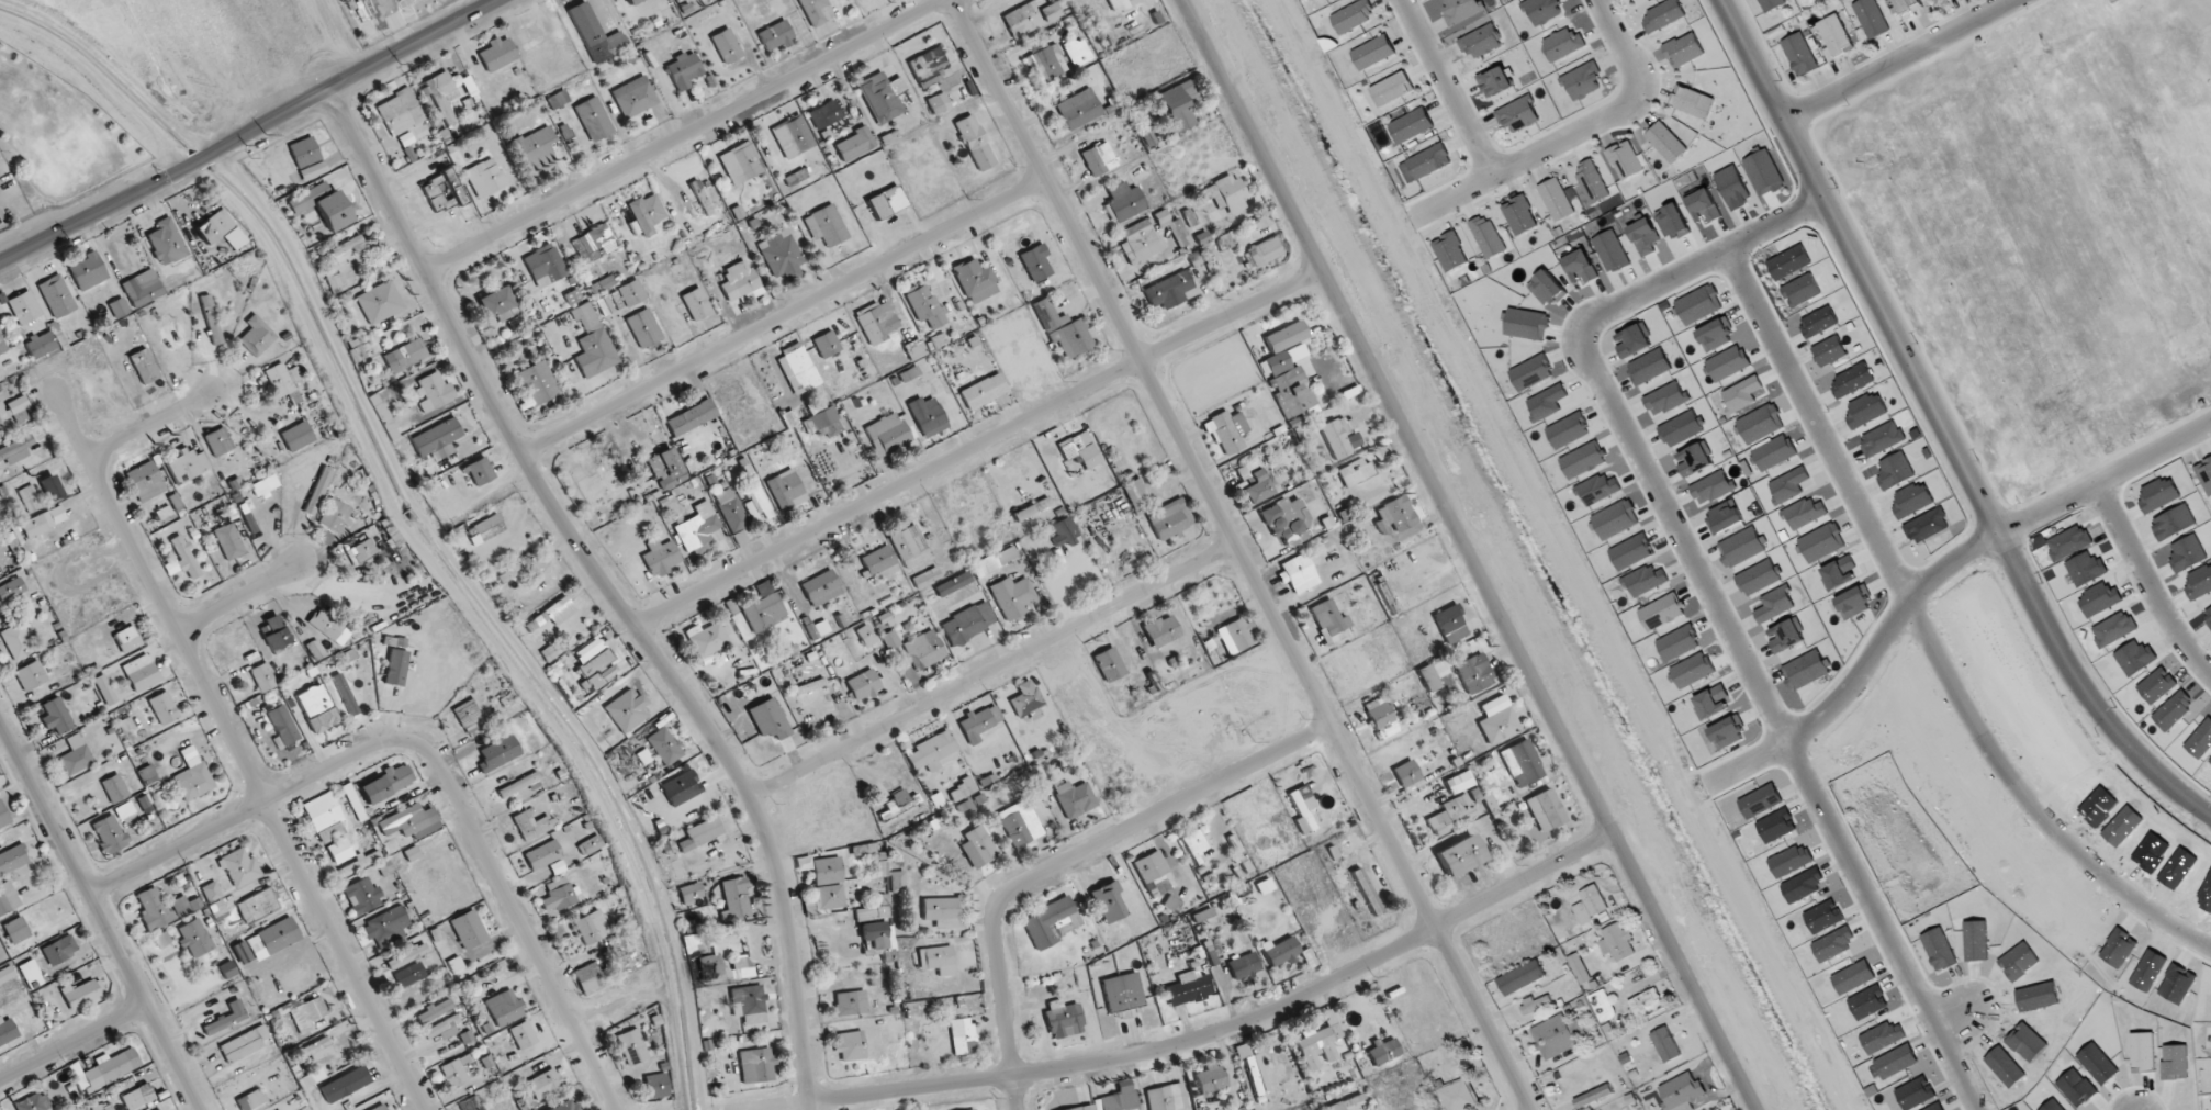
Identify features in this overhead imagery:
building: (343, 0)
building: (632, 2)
building: (1121, 4)
building: (1771, 4)
building: (1907, 5)
building: (1461, 10)
building: (1542, 10)
building: (816, 12)
building: (1353, 15)
building: (1662, 15)
building: (1029, 16)
building: (1871, 18)
road: (395, 24)
building: (595, 35)
building: (1836, 35)
building: (775, 36)
building: (1480, 42)
building: (1562, 44)
building: (726, 46)
building: (1683, 49)
building: (1077, 52)
building: (1372, 52)
building: (498, 54)
building: (1799, 55)
road: (1898, 61)
building: (1046, 63)
building: (929, 67)
building: (684, 70)
building: (1495, 81)
building: (1582, 81)
building: (1391, 89)
road: (1441, 89)
building: (442, 96)
building: (633, 97)
building: (882, 97)
building: (558, 100)
building: (1692, 101)
building: (938, 103)
building: (1179, 104)
building: (1077, 110)
building: (403, 114)
building: (826, 114)
building: (1517, 114)
building: (593, 119)
building: (1411, 125)
road: (250, 134)
road: (688, 134)
road: (1571, 134)
building: (793, 136)
building: (975, 143)
building: (1665, 143)
building: (855, 144)
building: (536, 147)
building: (304, 152)
building: (1098, 159)
building: (1625, 160)
building: (740, 162)
building: (1425, 162)
building: (484, 178)
building: (1591, 181)
building: (442, 192)
building: (1226, 193)
building: (1556, 199)
building: (886, 202)
building: (1124, 202)
building: (324, 205)
building: (647, 213)
building: (1519, 215)
building: (826, 225)
building: (215, 226)
building: (1177, 227)
building: (1486, 236)
building: (235, 238)
building: (1140, 242)
building: (166, 243)
building: (594, 244)
building: (349, 248)
building: (1265, 251)
building: (1450, 251)
building: (783, 258)
building: (1035, 262)
building: (545, 264)
building: (88, 271)
building: (975, 281)
building: (740, 282)
building: (603, 284)
building: (143, 290)
building: (1170, 290)
building: (628, 294)
building: (57, 296)
building: (380, 302)
building: (496, 303)
building: (696, 304)
building: (924, 305)
building: (23, 307)
building: (119, 307)
road: (782, 318)
building: (211, 319)
building: (876, 322)
building: (643, 328)
building: (1063, 329)
building: (257, 336)
building: (1286, 336)
building: (593, 343)
building: (827, 344)
building: (41, 345)
building: (2, 346)
building: (914, 349)
building: (405, 356)
building: (1287, 358)
building: (144, 366)
building: (797, 369)
building: (283, 379)
road: (1792, 379)
building: (538, 382)
building: (1292, 390)
building: (984, 391)
building: (435, 392)
building: (19, 408)
building: (3, 413)
building: (928, 416)
building: (691, 417)
building: (824, 418)
road: (151, 427)
road: (1941, 429)
building: (1227, 431)
building: (298, 436)
building: (1339, 437)
building: (437, 439)
building: (218, 441)
road: (978, 442)
building: (1079, 449)
building: (15, 450)
building: (188, 466)
road: (1641, 466)
building: (666, 469)
building: (479, 471)
building: (1355, 471)
building: (2204, 474)
building: (146, 481)
building: (1256, 481)
road: (2102, 481)
building: (265, 485)
building: (50, 487)
building: (786, 489)
building: (318, 491)
building: (1135, 494)
building: (29, 498)
building: (759, 500)
building: (731, 509)
building: (334, 515)
building: (1395, 515)
building: (1286, 517)
building: (1169, 519)
building: (43, 522)
building: (697, 527)
building: (485, 529)
building: (1064, 531)
building: (228, 541)
building: (909, 546)
building: (364, 550)
road: (1241, 554)
road: (1470, 554)
road: (1557, 554)
building: (184, 557)
building: (661, 557)
building: (878, 560)
building: (994, 561)
building: (520, 568)
building: (1298, 573)
building: (925, 578)
building: (953, 584)
road: (2147, 584)
building: (821, 588)
building: (11, 590)
road: (611, 590)
building: (1012, 596)
road: (238, 597)
building: (559, 610)
building: (764, 612)
building: (1329, 621)
building: (967, 623)
building: (326, 624)
building: (1450, 625)
building: (1161, 630)
building: (274, 634)
building: (1235, 636)
building: (866, 637)
building: (127, 639)
building: (708, 639)
building: (890, 640)
building: (16, 641)
building: (924, 649)
building: (1109, 664)
building: (396, 668)
road: (995, 668)
building: (597, 670)
building: (141, 673)
building: (1474, 673)
building: (31, 675)
building: (263, 677)
building: (1429, 677)
building: (863, 685)
building: (105, 689)
building: (346, 694)
building: (1025, 698)
building: (164, 708)
building: (317, 708)
building: (628, 710)
building: (468, 715)
building: (56, 716)
building: (768, 719)
building: (1497, 719)
building: (1384, 720)
building: (979, 722)
building: (283, 725)
building: (664, 745)
road: (242, 751)
building: (931, 751)
building: (498, 753)
building: (76, 755)
road: (439, 760)
building: (1522, 763)
road: (1747, 763)
building: (1406, 774)
building: (147, 775)
building: (193, 775)
building: (391, 781)
building: (1459, 782)
building: (518, 785)
building: (682, 787)
building: (114, 788)
building: (962, 789)
road: (1814, 795)
building: (1074, 798)
road: (2033, 799)
building: (898, 804)
building: (1302, 808)
building: (124, 810)
building: (1546, 810)
building: (1451, 814)
building: (3, 816)
building: (325, 817)
building: (404, 821)
building: (1020, 823)
building: (532, 825)
building: (111, 833)
building: (702, 833)
building: (591, 845)
building: (1194, 845)
building: (978, 846)
building: (340, 851)
building: (542, 855)
building: (1459, 855)
building: (12, 859)
road: (1071, 860)
building: (360, 863)
building: (239, 867)
building: (827, 871)
building: (1153, 873)
building: (897, 881)
building: (1265, 886)
building: (212, 892)
building: (1367, 892)
building: (691, 893)
building: (558, 895)
building: (362, 896)
building: (8, 898)
building: (736, 898)
building: (829, 898)
building: (1108, 901)
building: (1590, 905)
building: (258, 906)
building: (154, 908)
building: (944, 911)
road: (101, 913)
building: (1052, 922)
building: (386, 927)
building: (592, 927)
building: (469, 929)
building: (16, 931)
building: (195, 938)
building: (273, 939)
building: (1616, 942)
building: (59, 950)
building: (1280, 951)
building: (406, 956)
building: (938, 960)
building: (1244, 966)
building: (1579, 968)
building: (228, 969)
building: (7, 974)
building: (31, 974)
building: (588, 977)
building: (1522, 977)
building: (1194, 986)
building: (82, 994)
building: (1123, 995)
building: (749, 1004)
building: (850, 1004)
building: (1646, 1004)
building: (1602, 1006)
building: (1535, 1007)
building: (505, 1008)
building: (435, 1010)
building: (305, 1014)
road: (1962, 1017)
building: (226, 1018)
building: (442, 1028)
building: (7, 1031)
building: (523, 1034)
building: (963, 1036)
building: (1553, 1036)
building: (1318, 1042)
road: (72, 1043)
building: (244, 1044)
building: (1665, 1044)
building: (851, 1045)
building: (632, 1046)
building: (318, 1050)
building: (1383, 1052)
road: (1138, 1055)
building: (756, 1065)
building: (106, 1069)
building: (456, 1072)
building: (1211, 1078)
building: (545, 1084)
building: (656, 1086)
building: (1681, 1092)
building: (1458, 1096)
building: (1593, 1096)
building: (138, 1097)
building: (1167, 1097)
building: (251, 1100)
building: (34, 1102)
building: (471, 1103)
building: (1350, 1103)
building: (566, 1106)
building: (381, 1107)
building: (1074, 1108)
building: (1247, 1108)
building: (160, 1109)
building: (1719, 1109)

